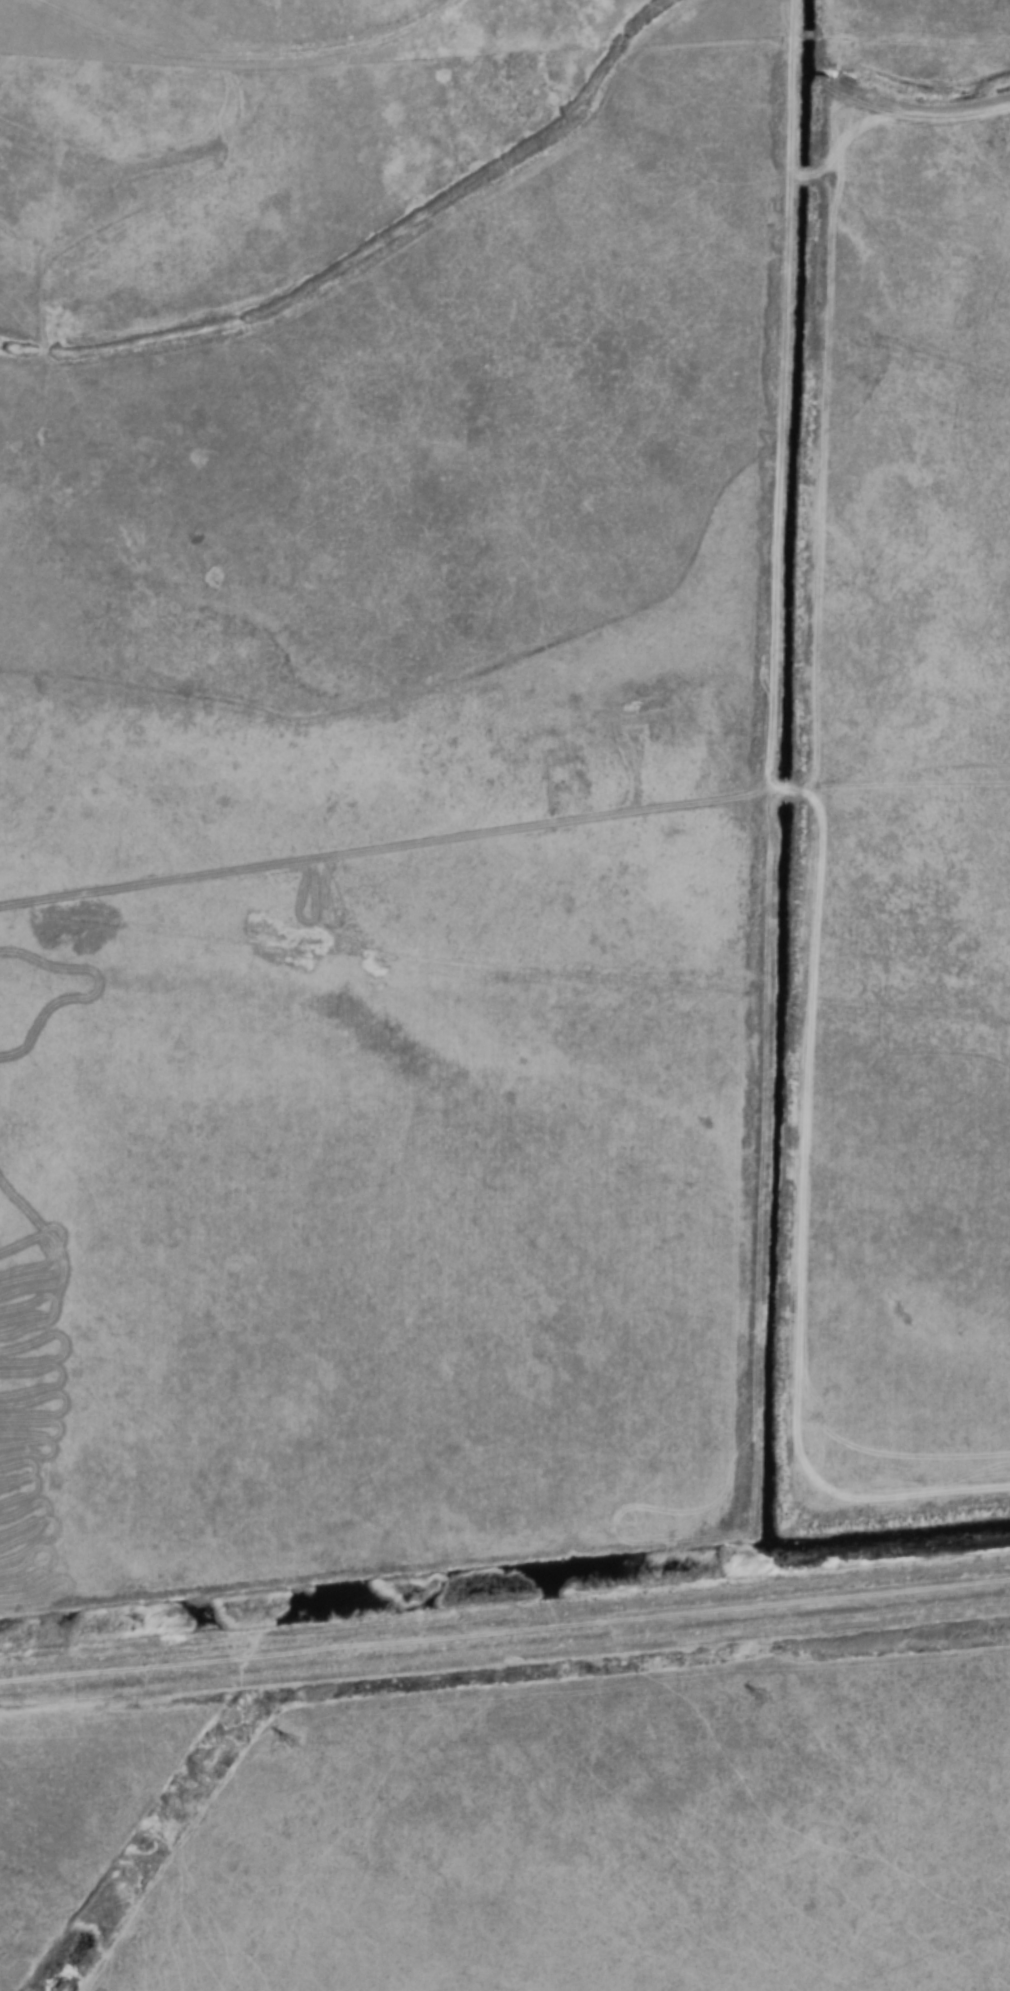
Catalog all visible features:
power tower: (761, 1693)
power tower: (276, 1743)

